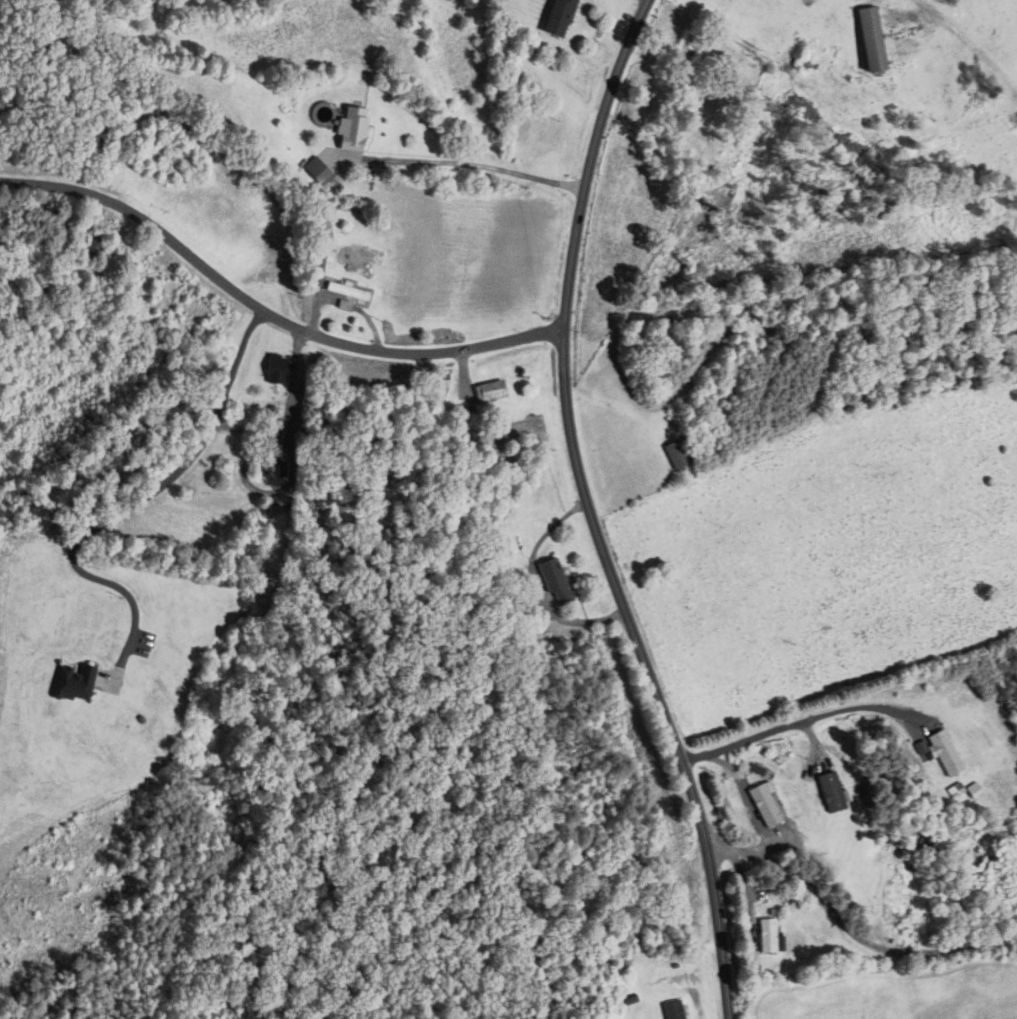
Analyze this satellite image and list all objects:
building: (560, 18)
building: (871, 39)
building: (686, 46)
building: (353, 129)
road: (588, 161)
road: (481, 166)
building: (94, 247)
building: (352, 258)
building: (347, 297)
building: (734, 314)
road: (267, 315)
building: (278, 370)
building: (488, 390)
building: (675, 454)
road: (123, 511)
building: (554, 580)
road: (646, 675)
building: (72, 683)
road: (791, 725)
building: (947, 750)
building: (830, 792)
building: (765, 805)
road: (850, 931)
building: (769, 936)
building: (674, 1010)

